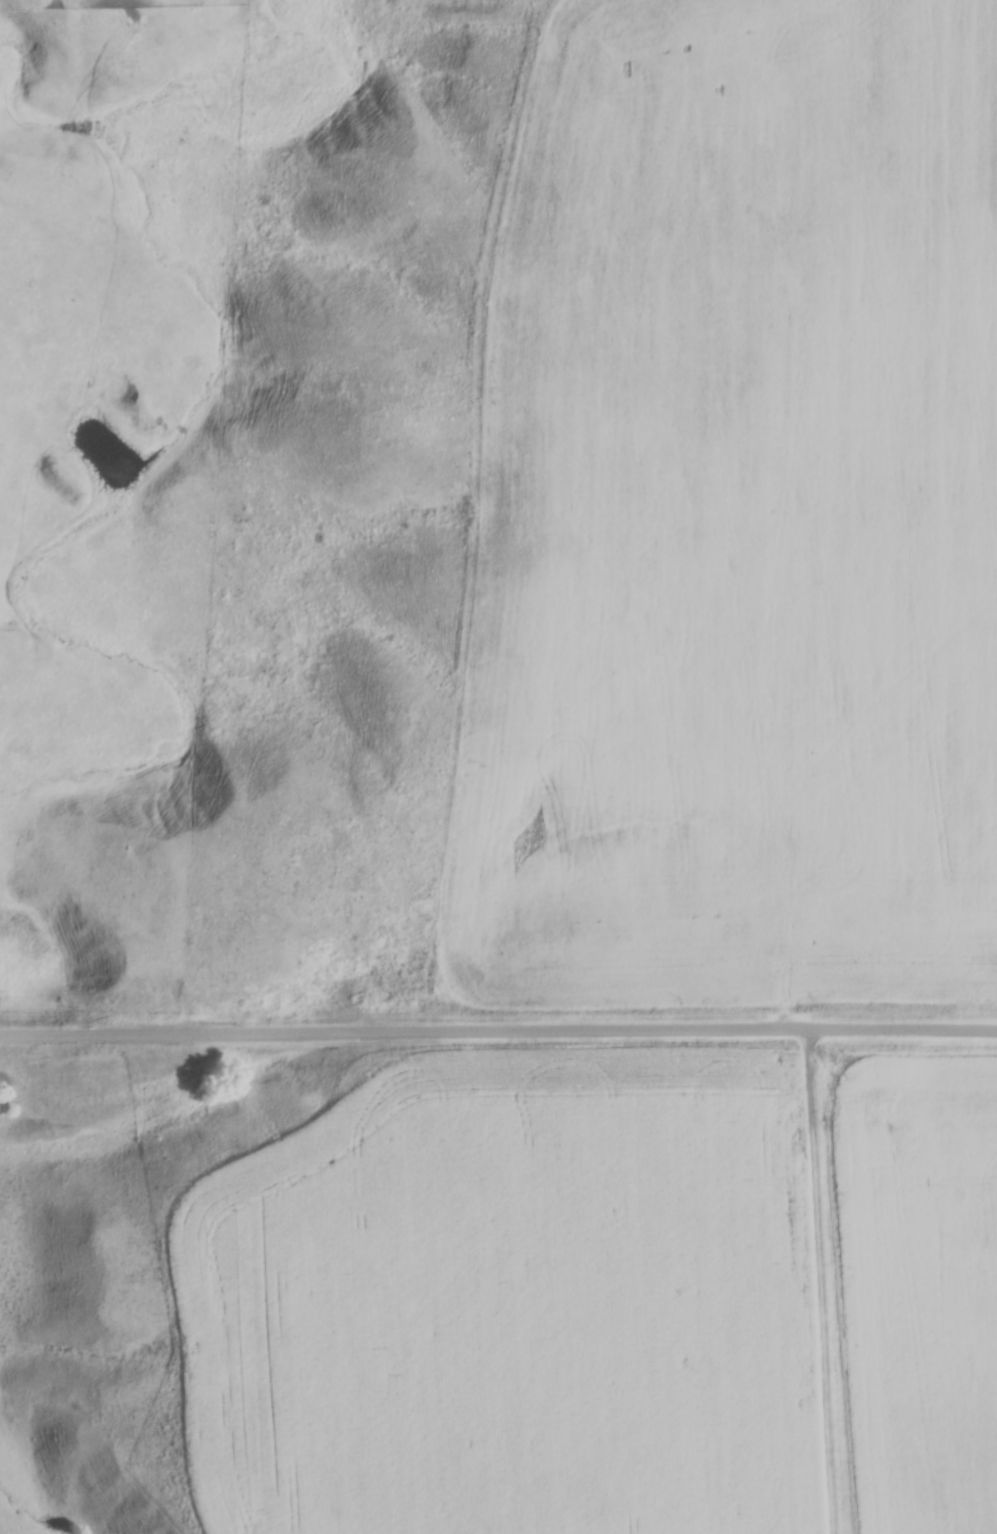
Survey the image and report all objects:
road: (498, 1029)
road: (821, 1279)

